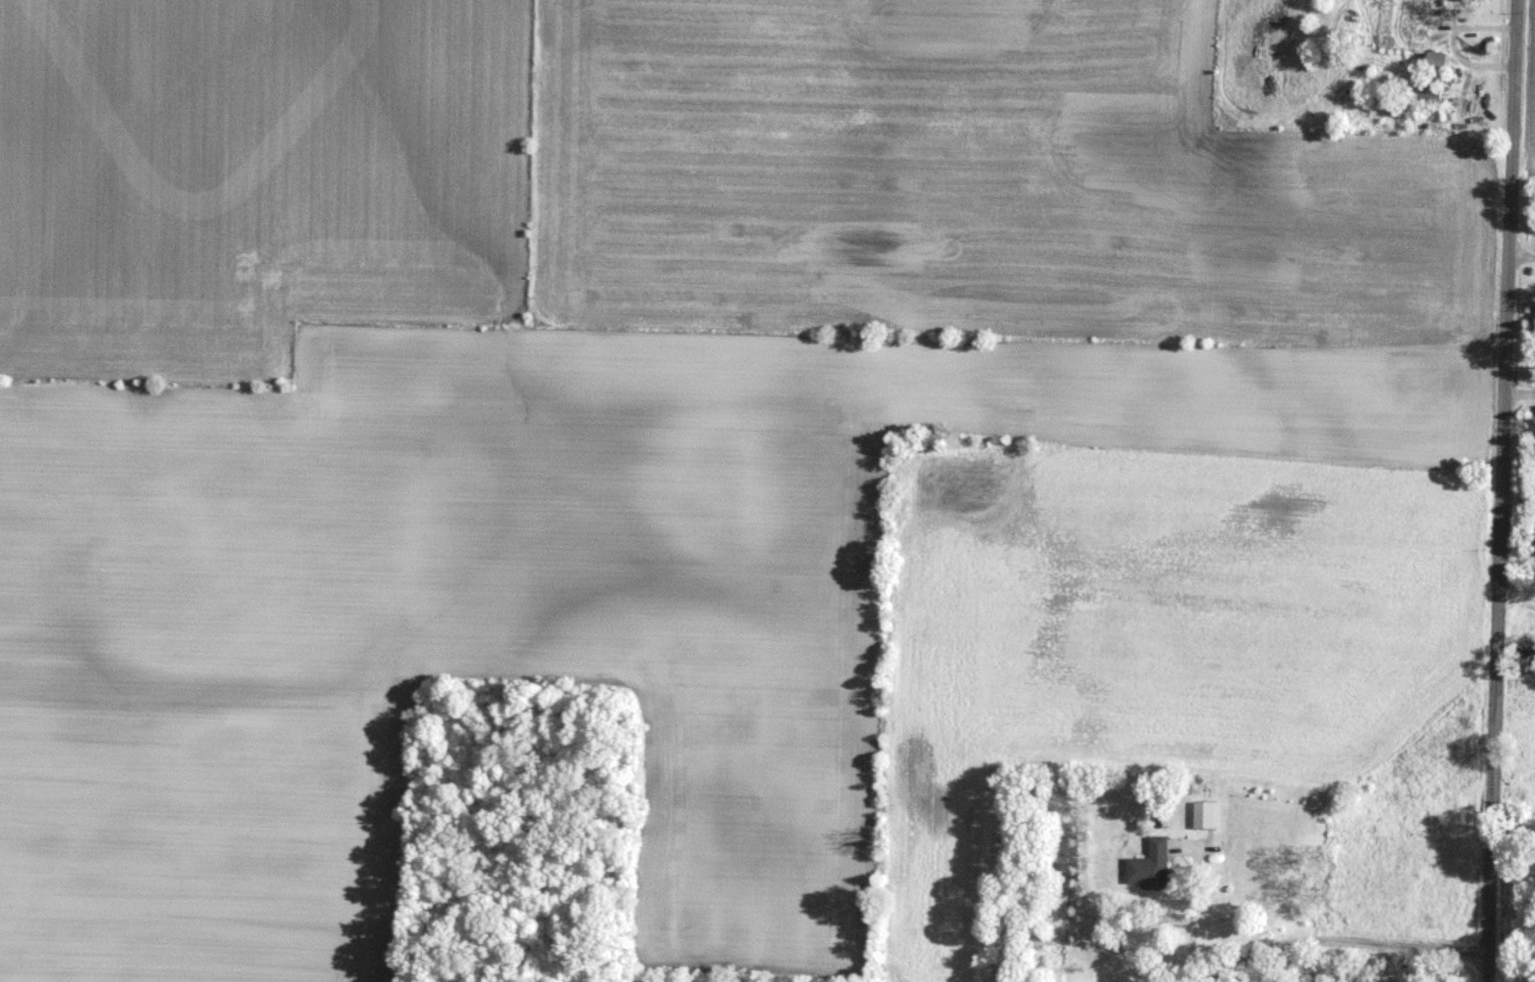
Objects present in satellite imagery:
building: (1469, 0)
building: (1437, 58)
building: (1430, 94)
road: (1519, 258)
road: (1499, 490)
building: (1207, 814)
building: (1153, 865)
road: (1370, 964)

